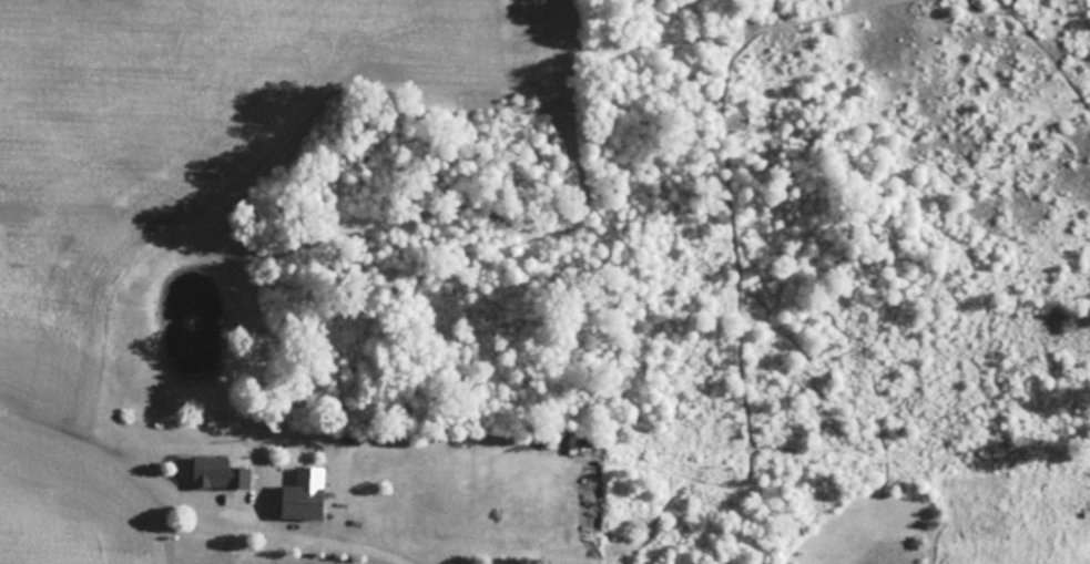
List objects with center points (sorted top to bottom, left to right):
building: (218, 469)
road: (197, 499)
building: (305, 500)

